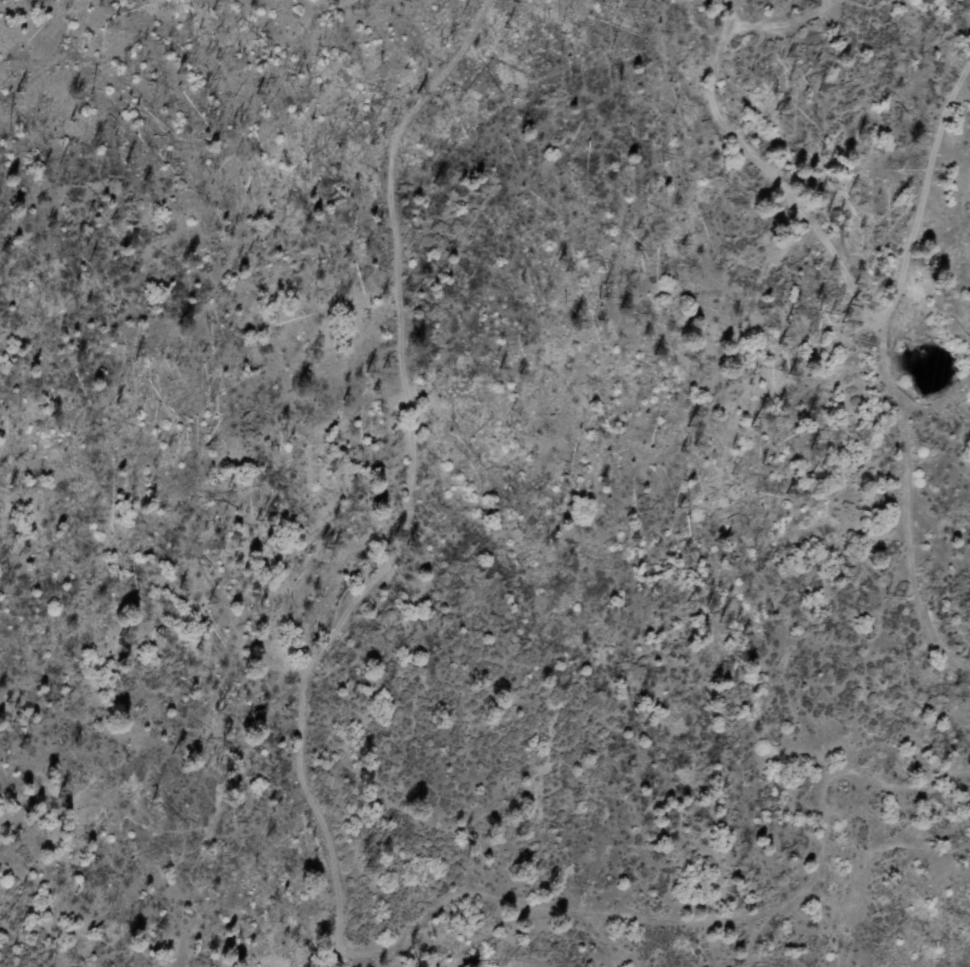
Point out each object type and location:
road: (822, 170)

